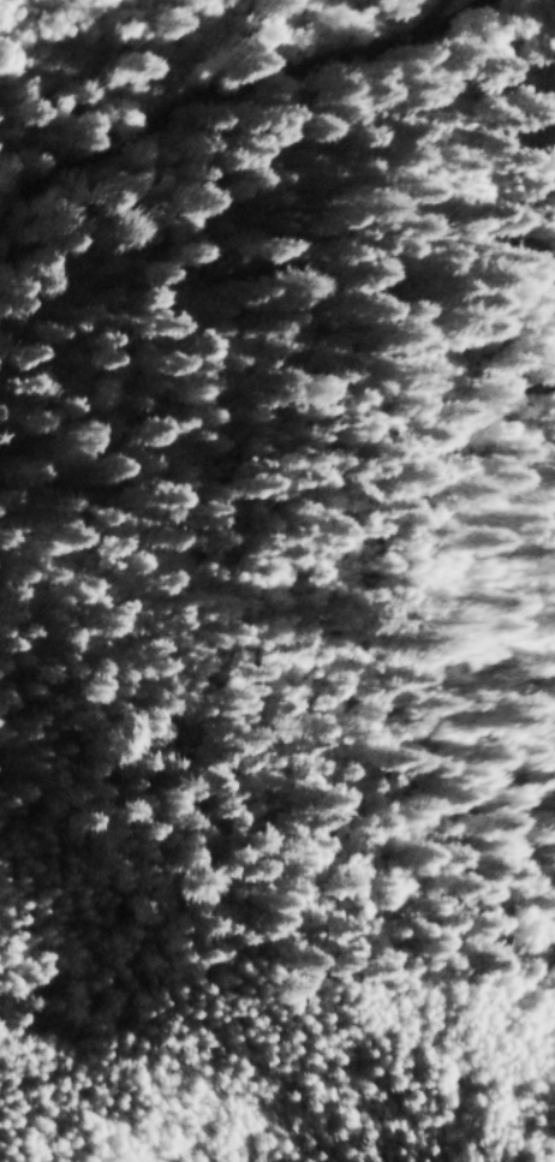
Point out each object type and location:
crop: (13, 13)
road: (503, 18)
road: (255, 105)

